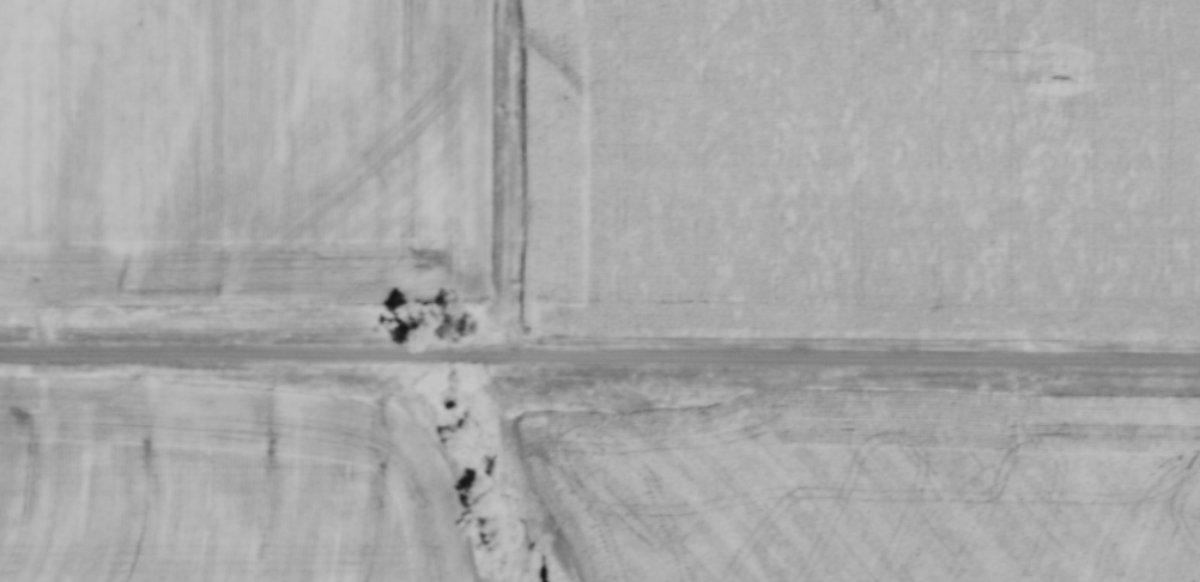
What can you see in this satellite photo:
road: (600, 364)

